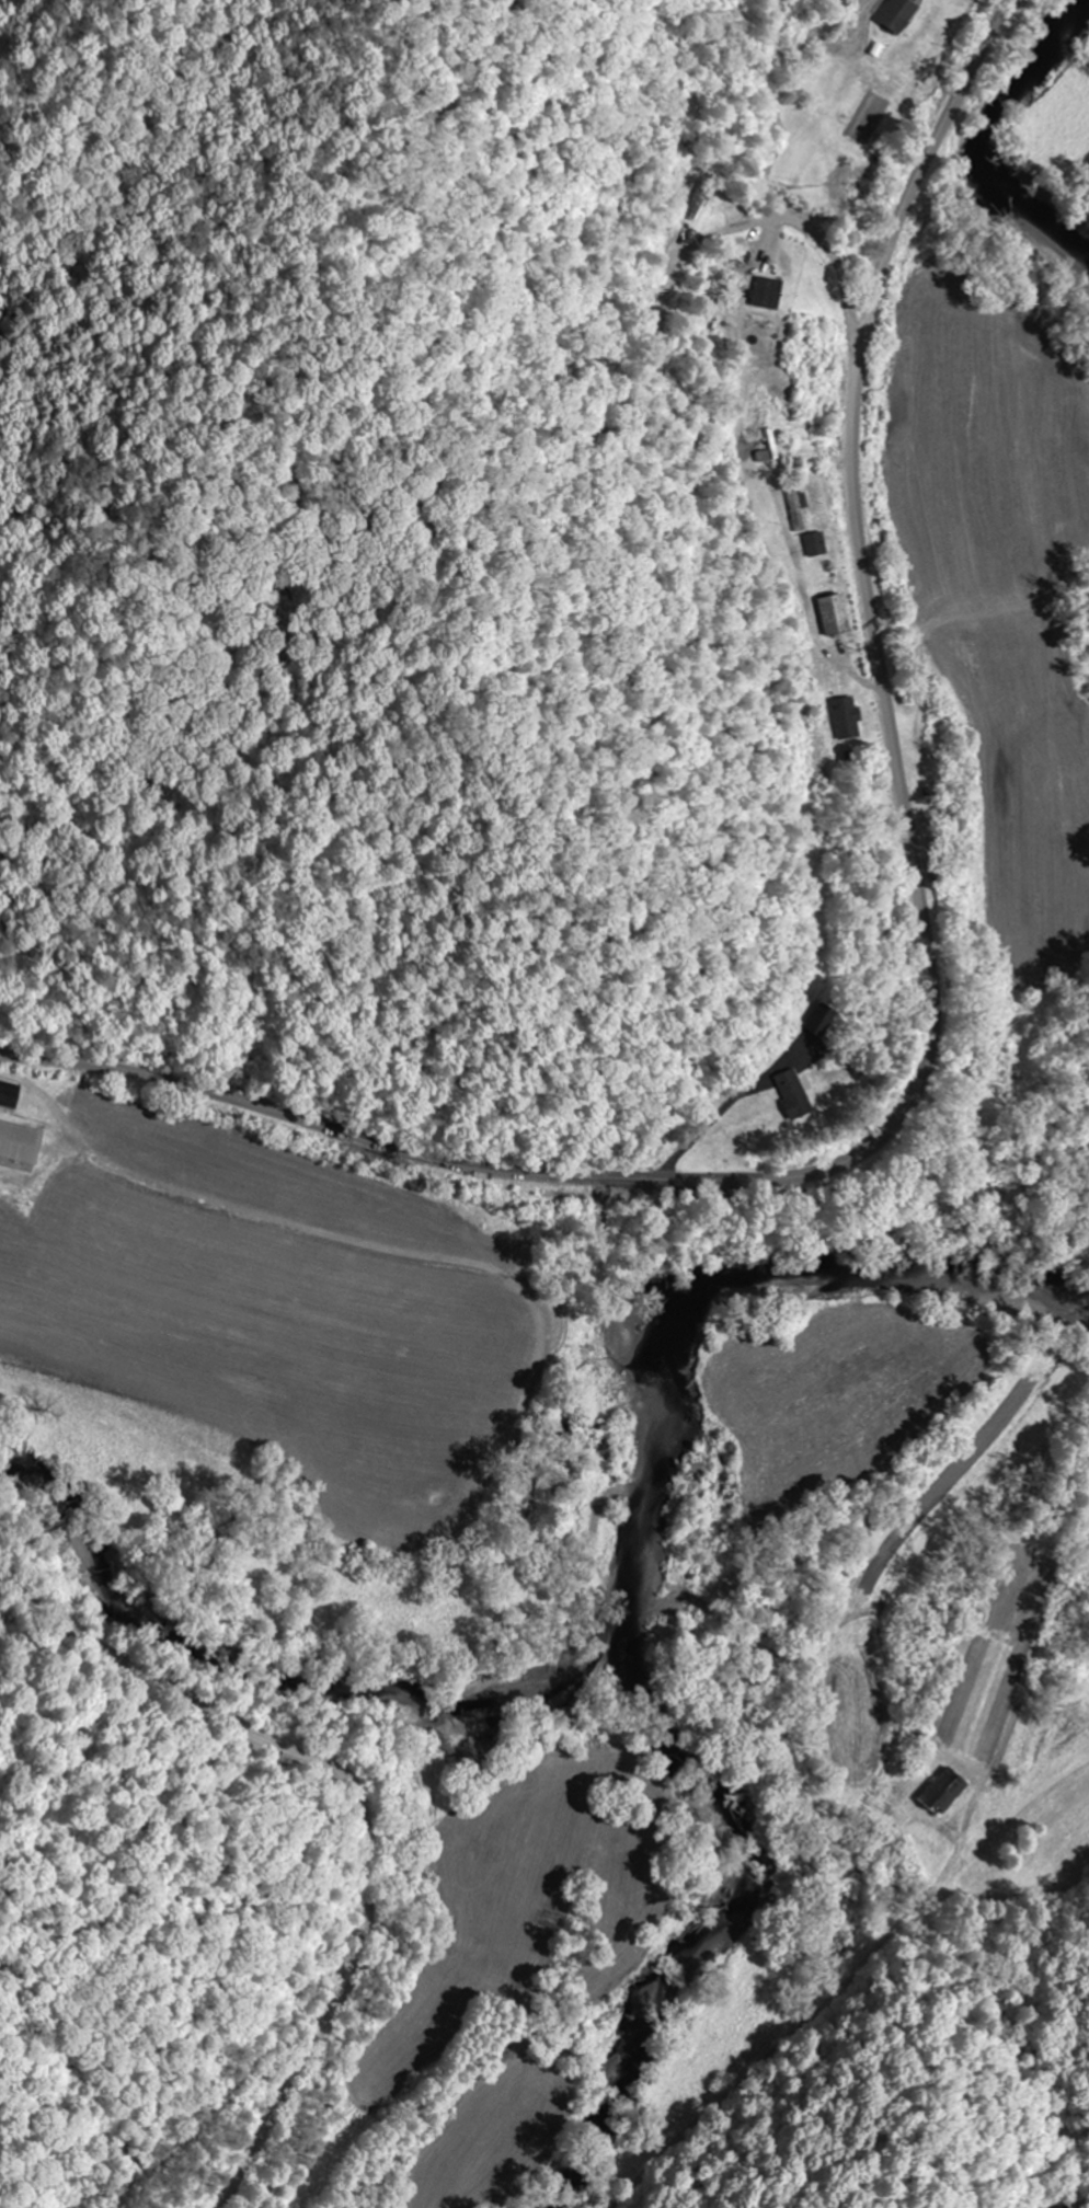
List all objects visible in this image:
building: (897, 14)
road: (933, 1008)
building: (10, 1093)
building: (792, 1093)
building: (21, 1141)
building: (947, 1789)
road: (358, 1810)

